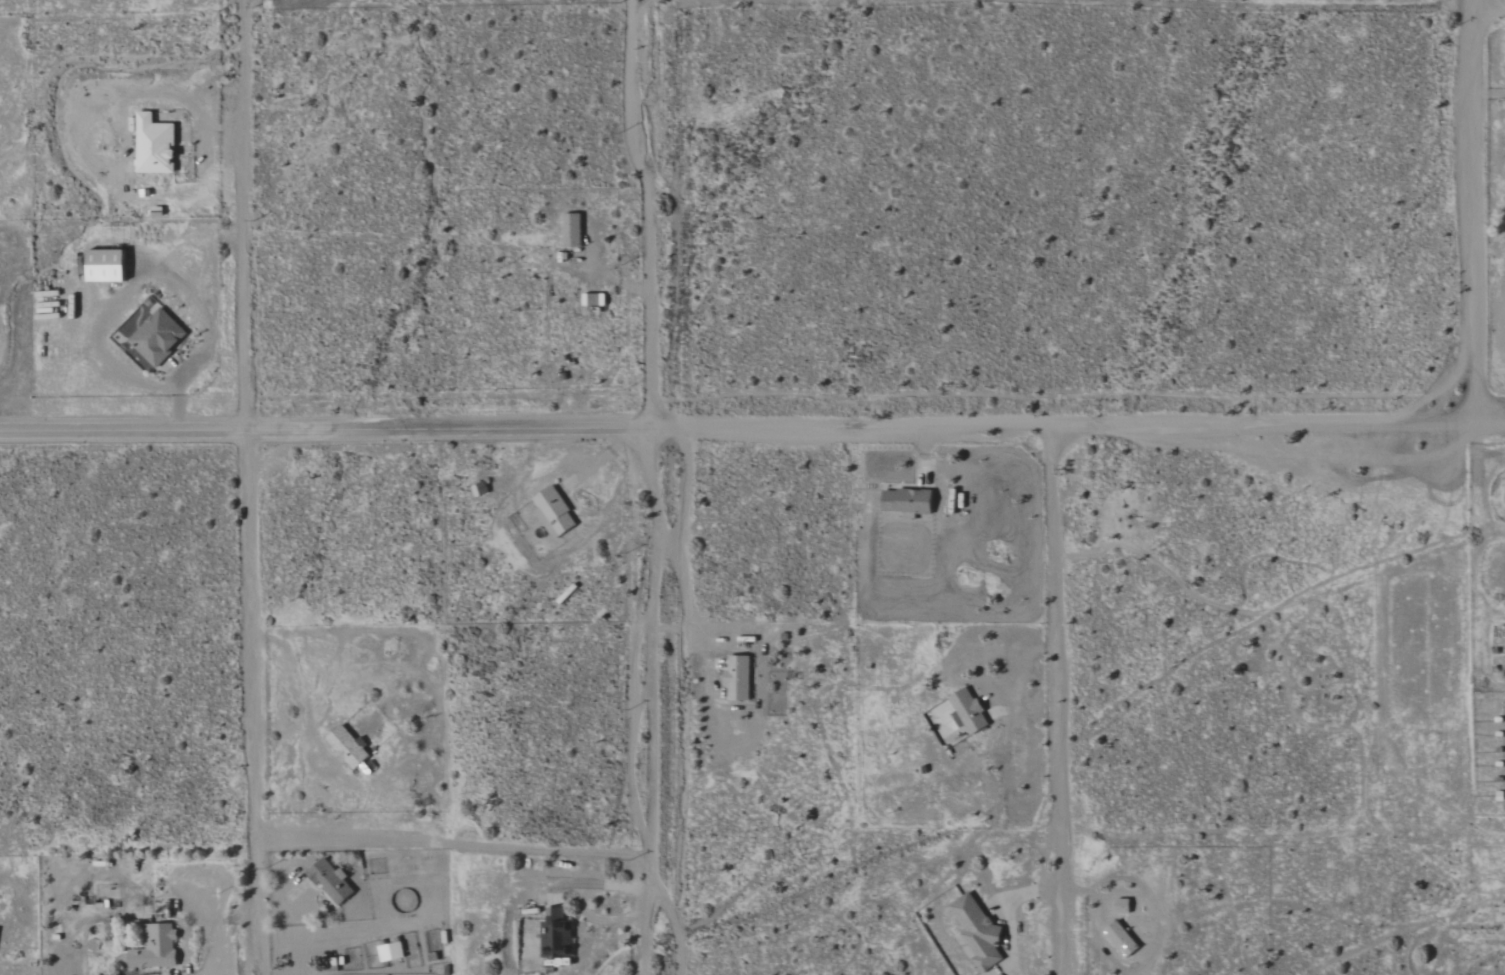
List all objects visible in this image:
road: (1487, 10)
road: (89, 141)
building: (155, 145)
road: (1471, 208)
road: (647, 214)
road: (246, 216)
building: (572, 230)
building: (106, 266)
building: (594, 300)
road: (211, 336)
building: (157, 337)
road: (1089, 426)
road: (337, 431)
building: (907, 501)
building: (554, 513)
road: (688, 600)
road: (672, 628)
road: (1022, 672)
building: (738, 678)
road: (1058, 700)
road: (300, 701)
road: (648, 702)
road: (247, 703)
building: (969, 712)
building: (348, 747)
road: (449, 844)
building: (331, 881)
road: (597, 885)
road: (283, 903)
road: (1010, 912)
road: (599, 920)
road: (207, 925)
road: (678, 927)
building: (556, 934)
building: (156, 947)
building: (391, 951)

